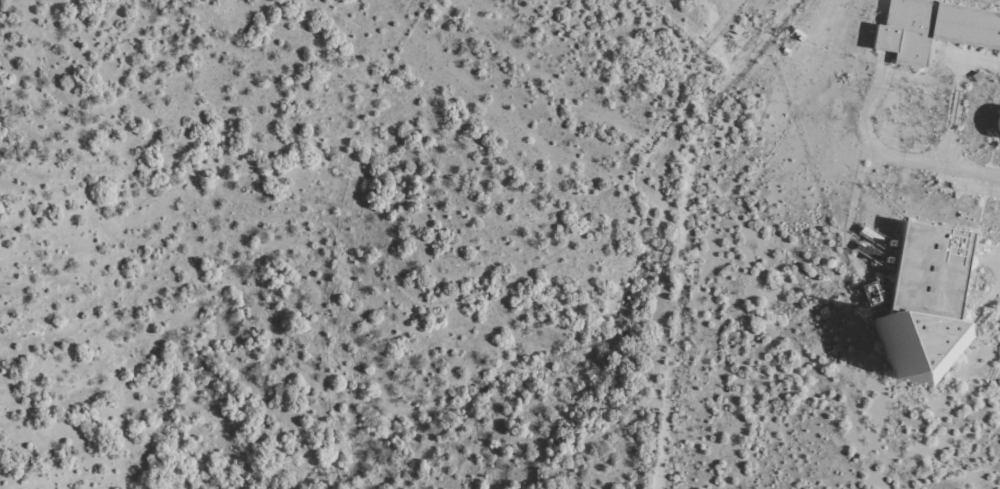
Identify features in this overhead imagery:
building: (932, 28)
road: (967, 56)
road: (874, 112)
road: (959, 113)
building: (996, 120)
road: (868, 174)
building: (928, 302)
road: (987, 308)

